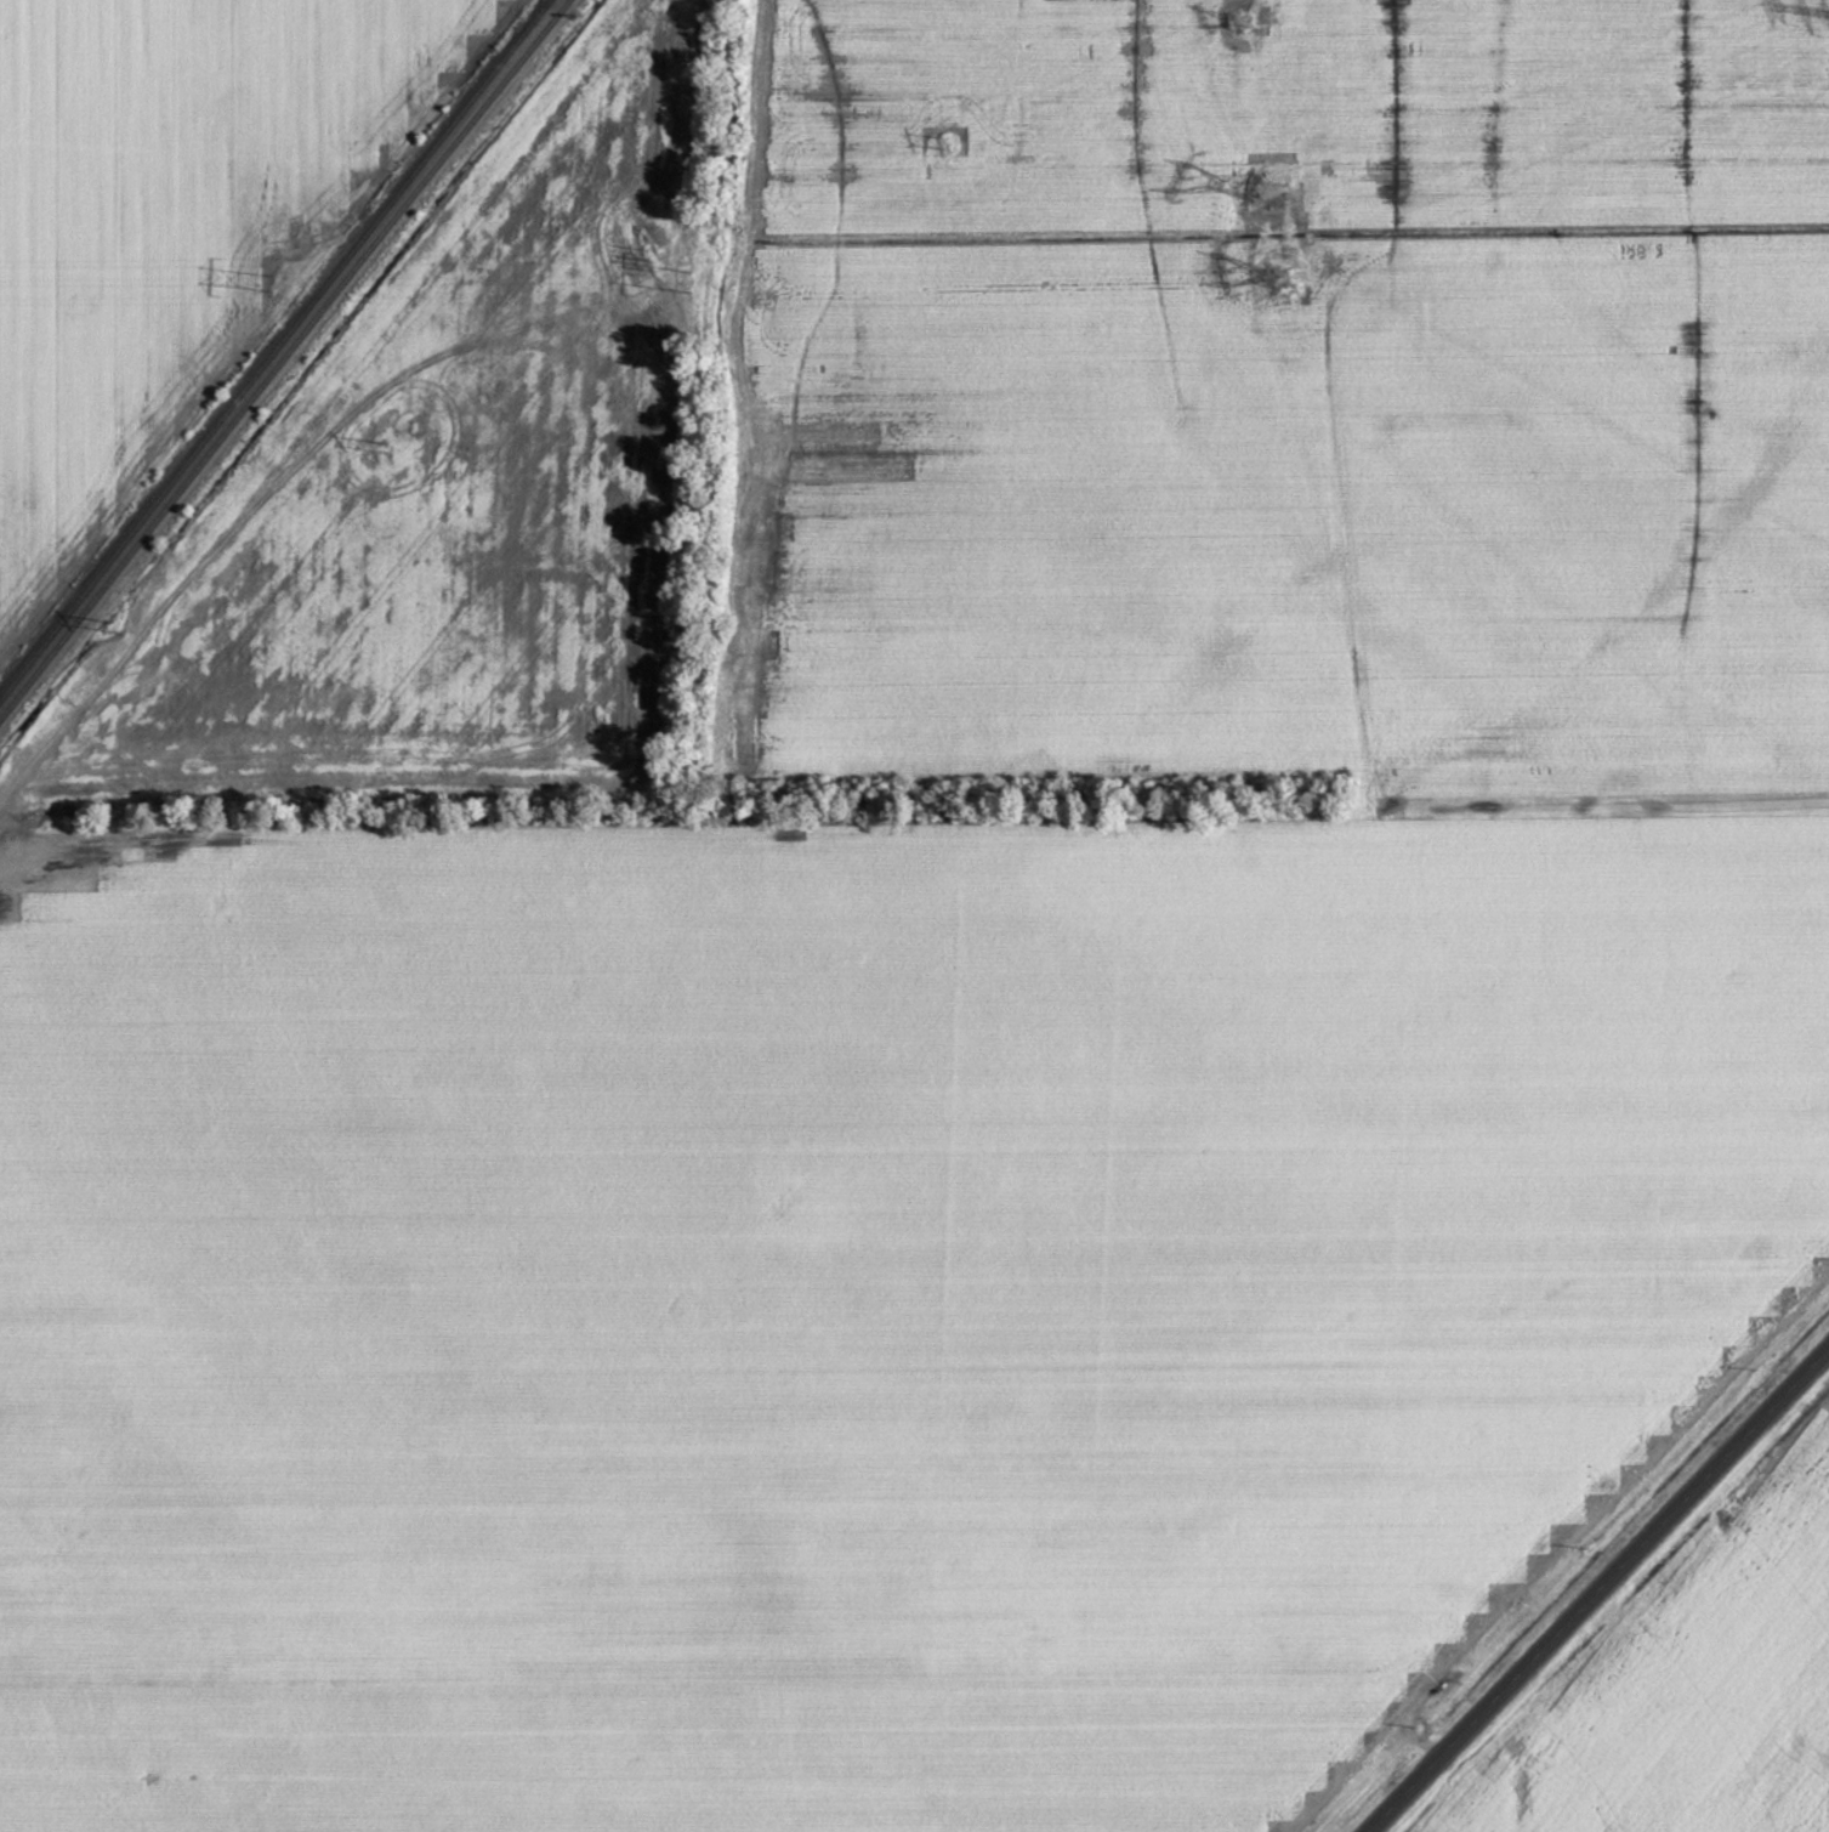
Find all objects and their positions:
power tower: (1243, 23)
power tower: (944, 141)
railway: (425, 181)
power tower: (1277, 187)
power tower: (652, 259)
power tower: (688, 278)
power tower: (273, 279)
power tower: (1288, 279)
railway: (274, 350)
crop: (447, 484)
railway: (140, 539)
road: (1602, 1594)

